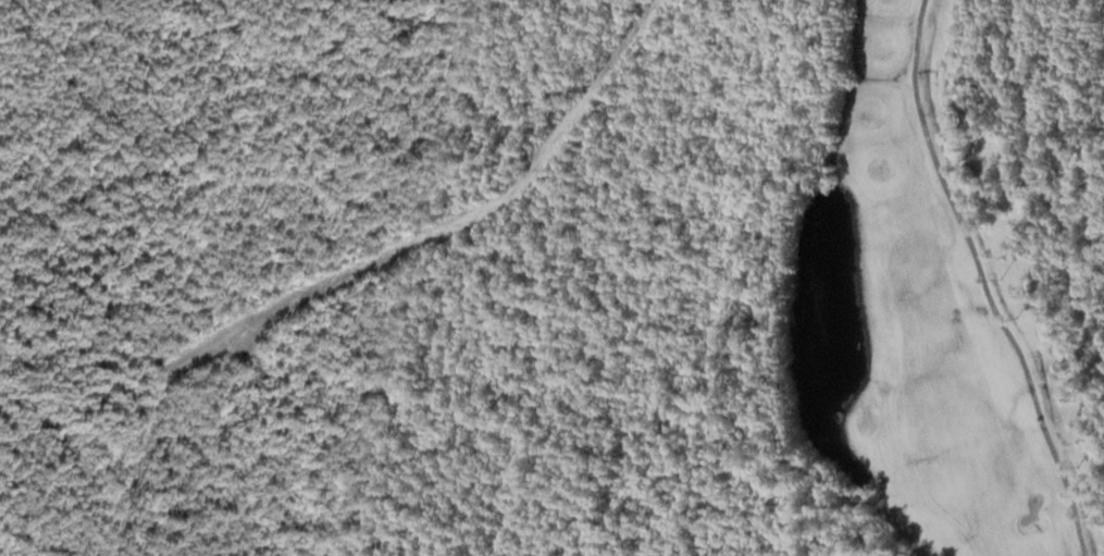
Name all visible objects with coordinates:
road: (445, 230)

